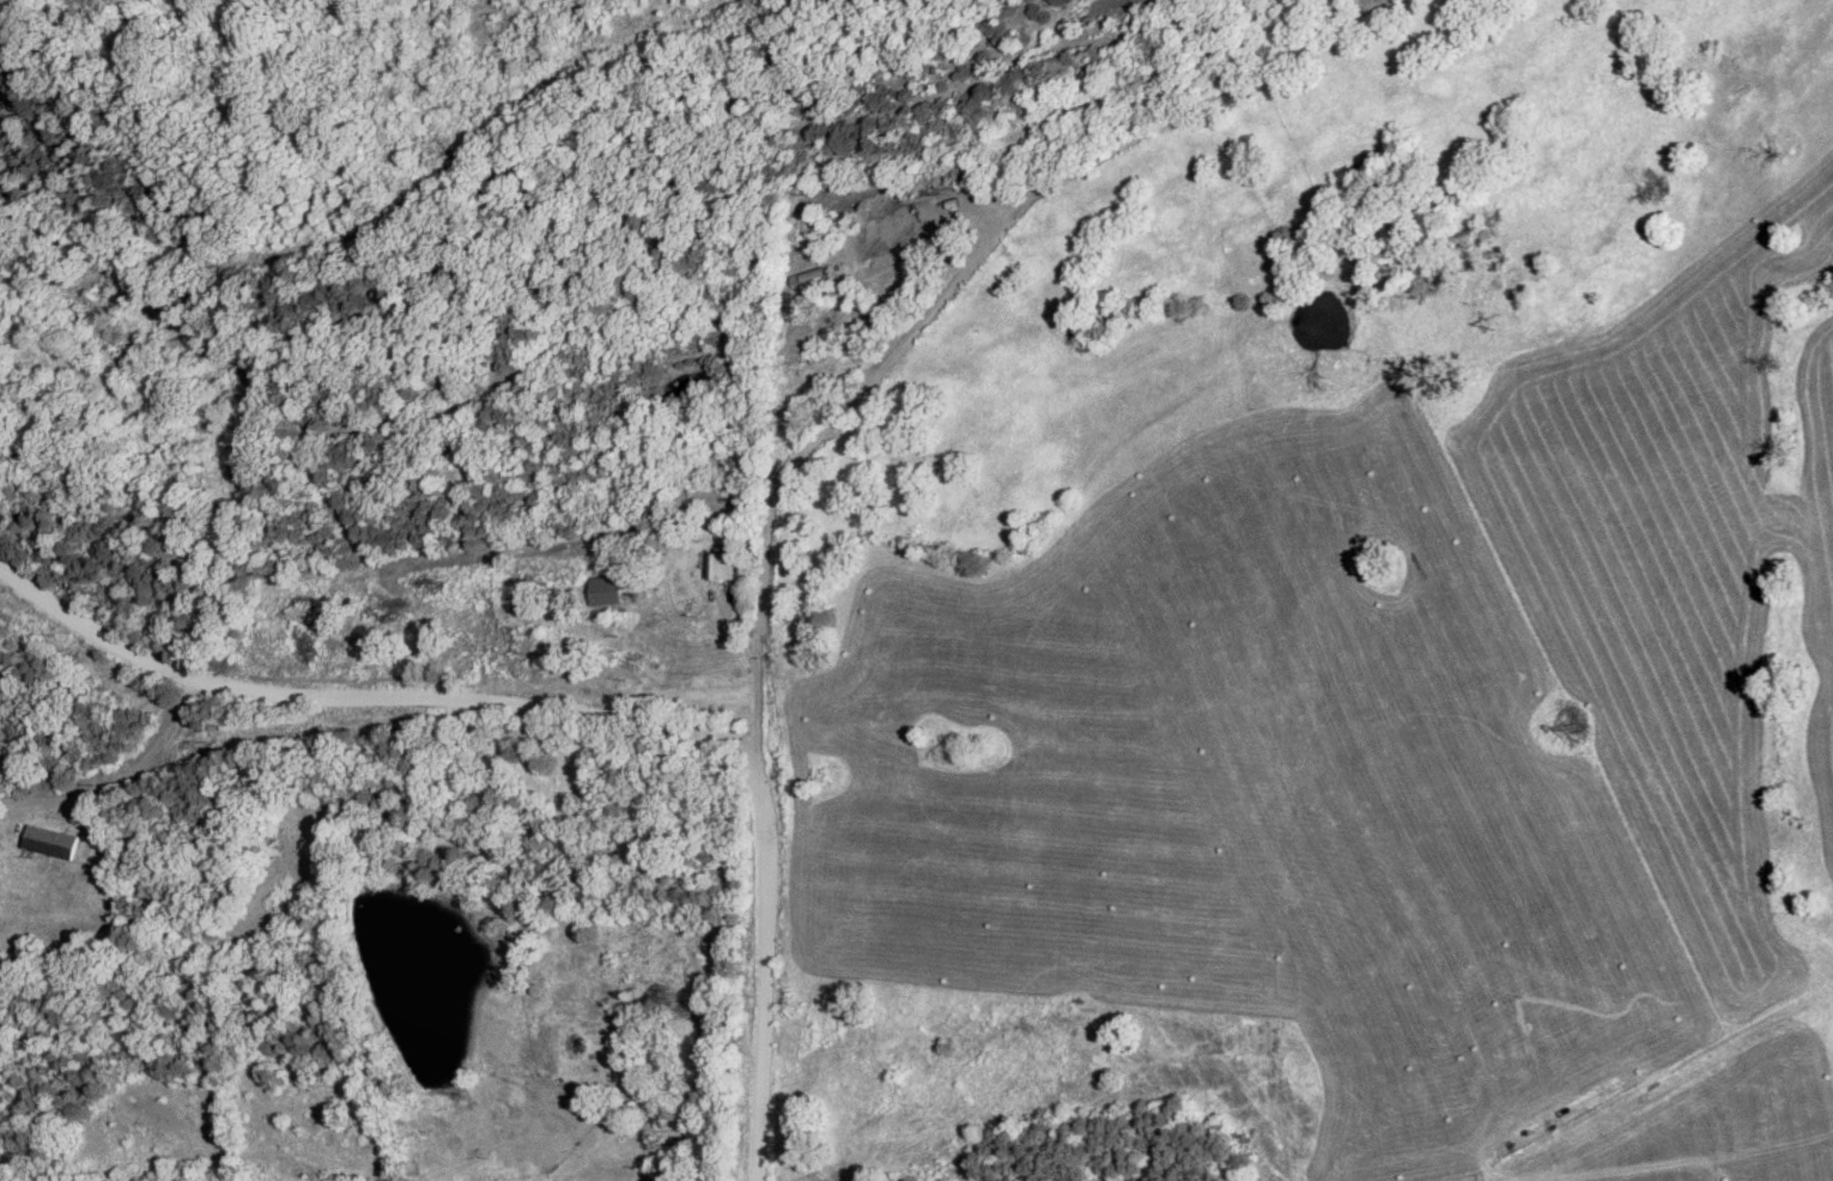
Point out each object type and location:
road: (808, 448)
building: (722, 568)
building: (603, 589)
road: (575, 708)
road: (134, 767)
building: (47, 841)
road: (429, 981)

